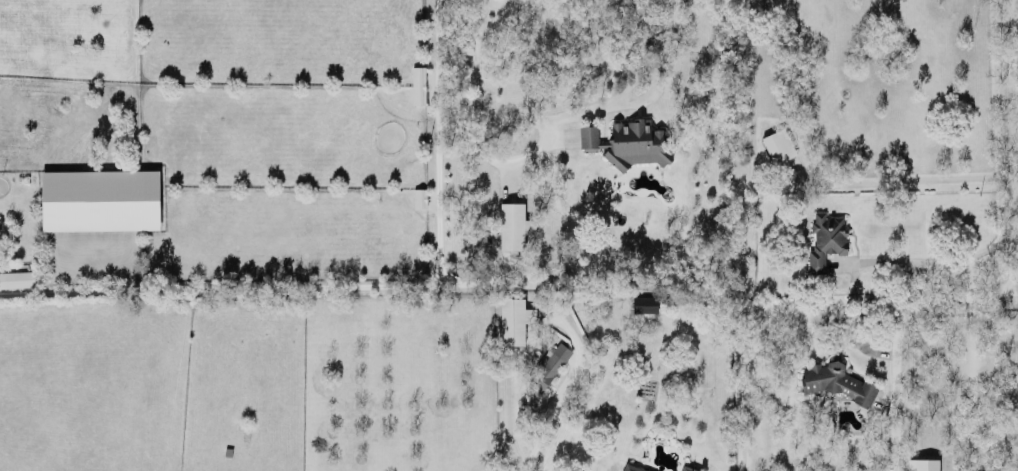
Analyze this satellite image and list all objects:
road: (651, 78)
building: (417, 84)
road: (467, 121)
building: (628, 141)
building: (777, 144)
road: (504, 162)
road: (901, 179)
building: (99, 198)
building: (513, 224)
building: (825, 236)
road: (942, 257)
road: (438, 263)
building: (16, 277)
road: (1012, 278)
road: (219, 285)
building: (513, 319)
building: (549, 365)
building: (837, 380)
road: (565, 382)
building: (922, 464)
building: (632, 467)
building: (688, 468)

